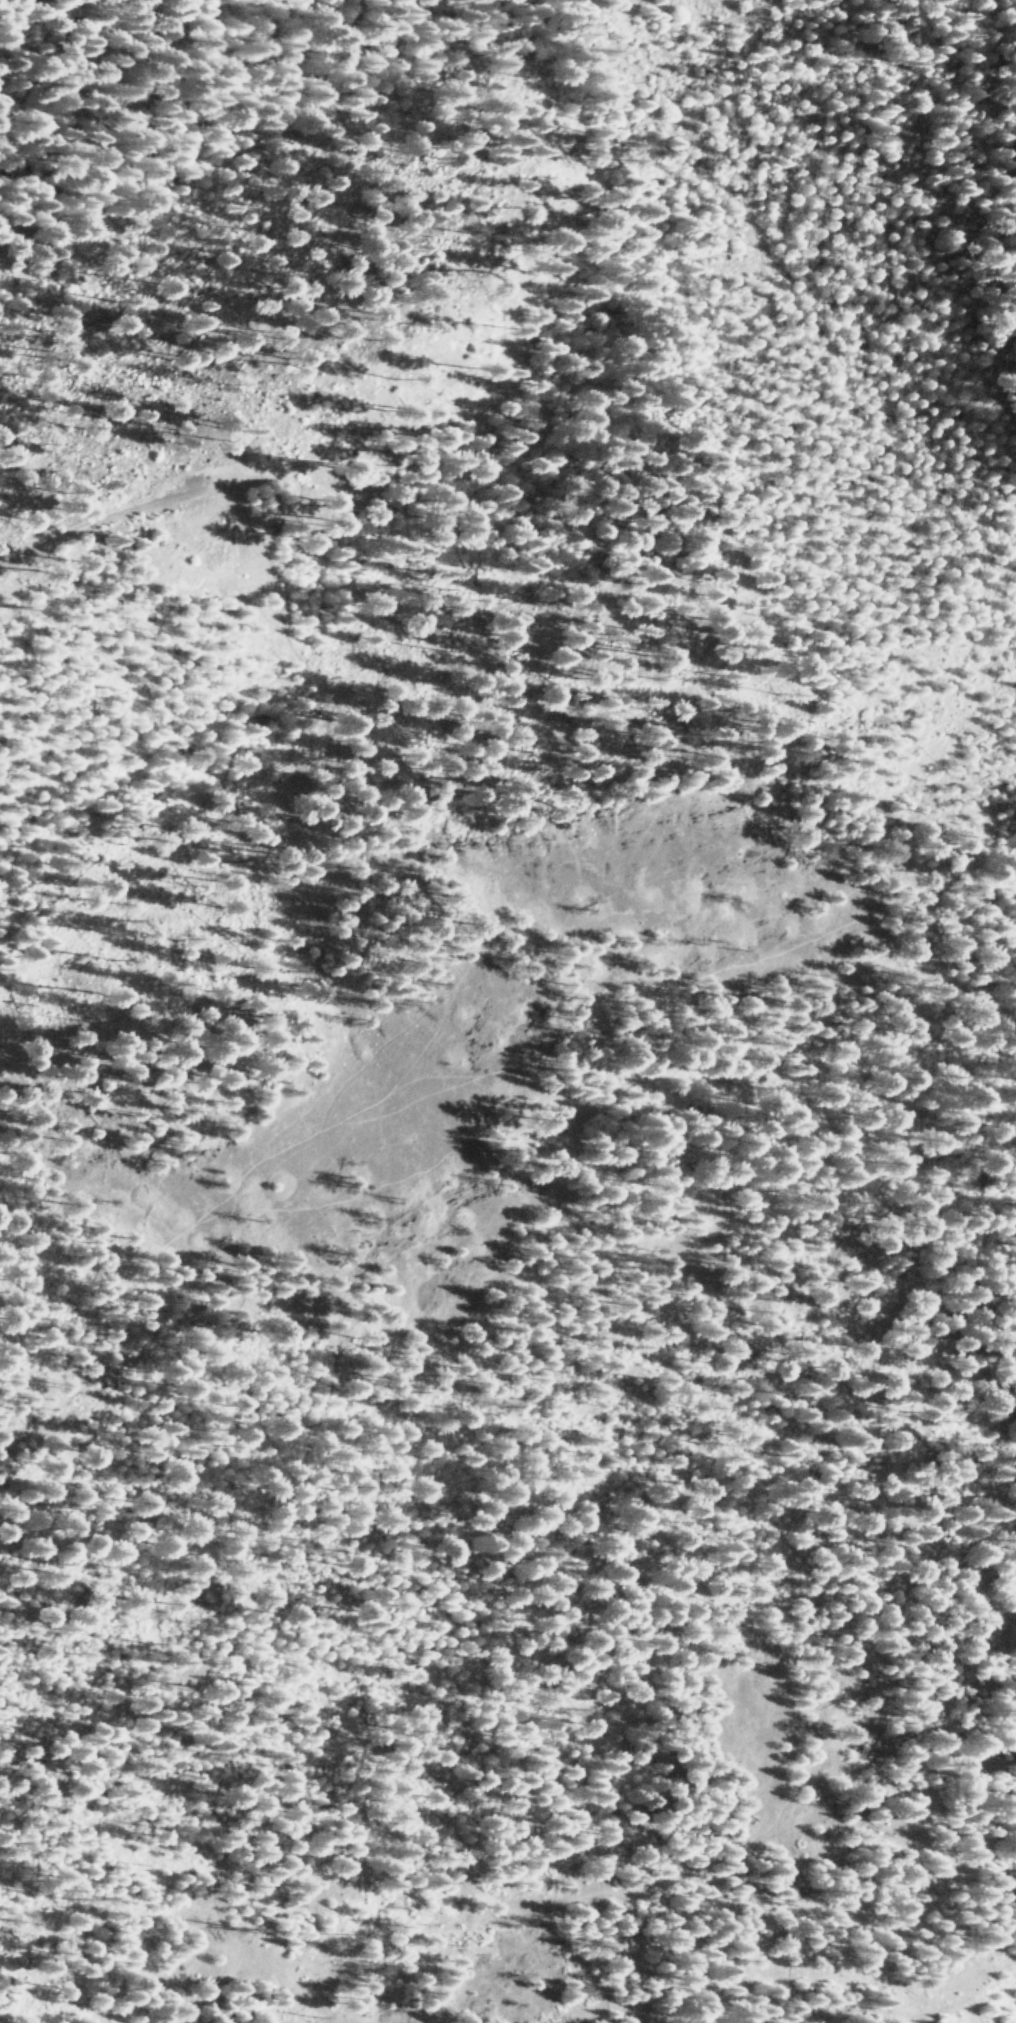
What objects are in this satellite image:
road: (100, 521)

